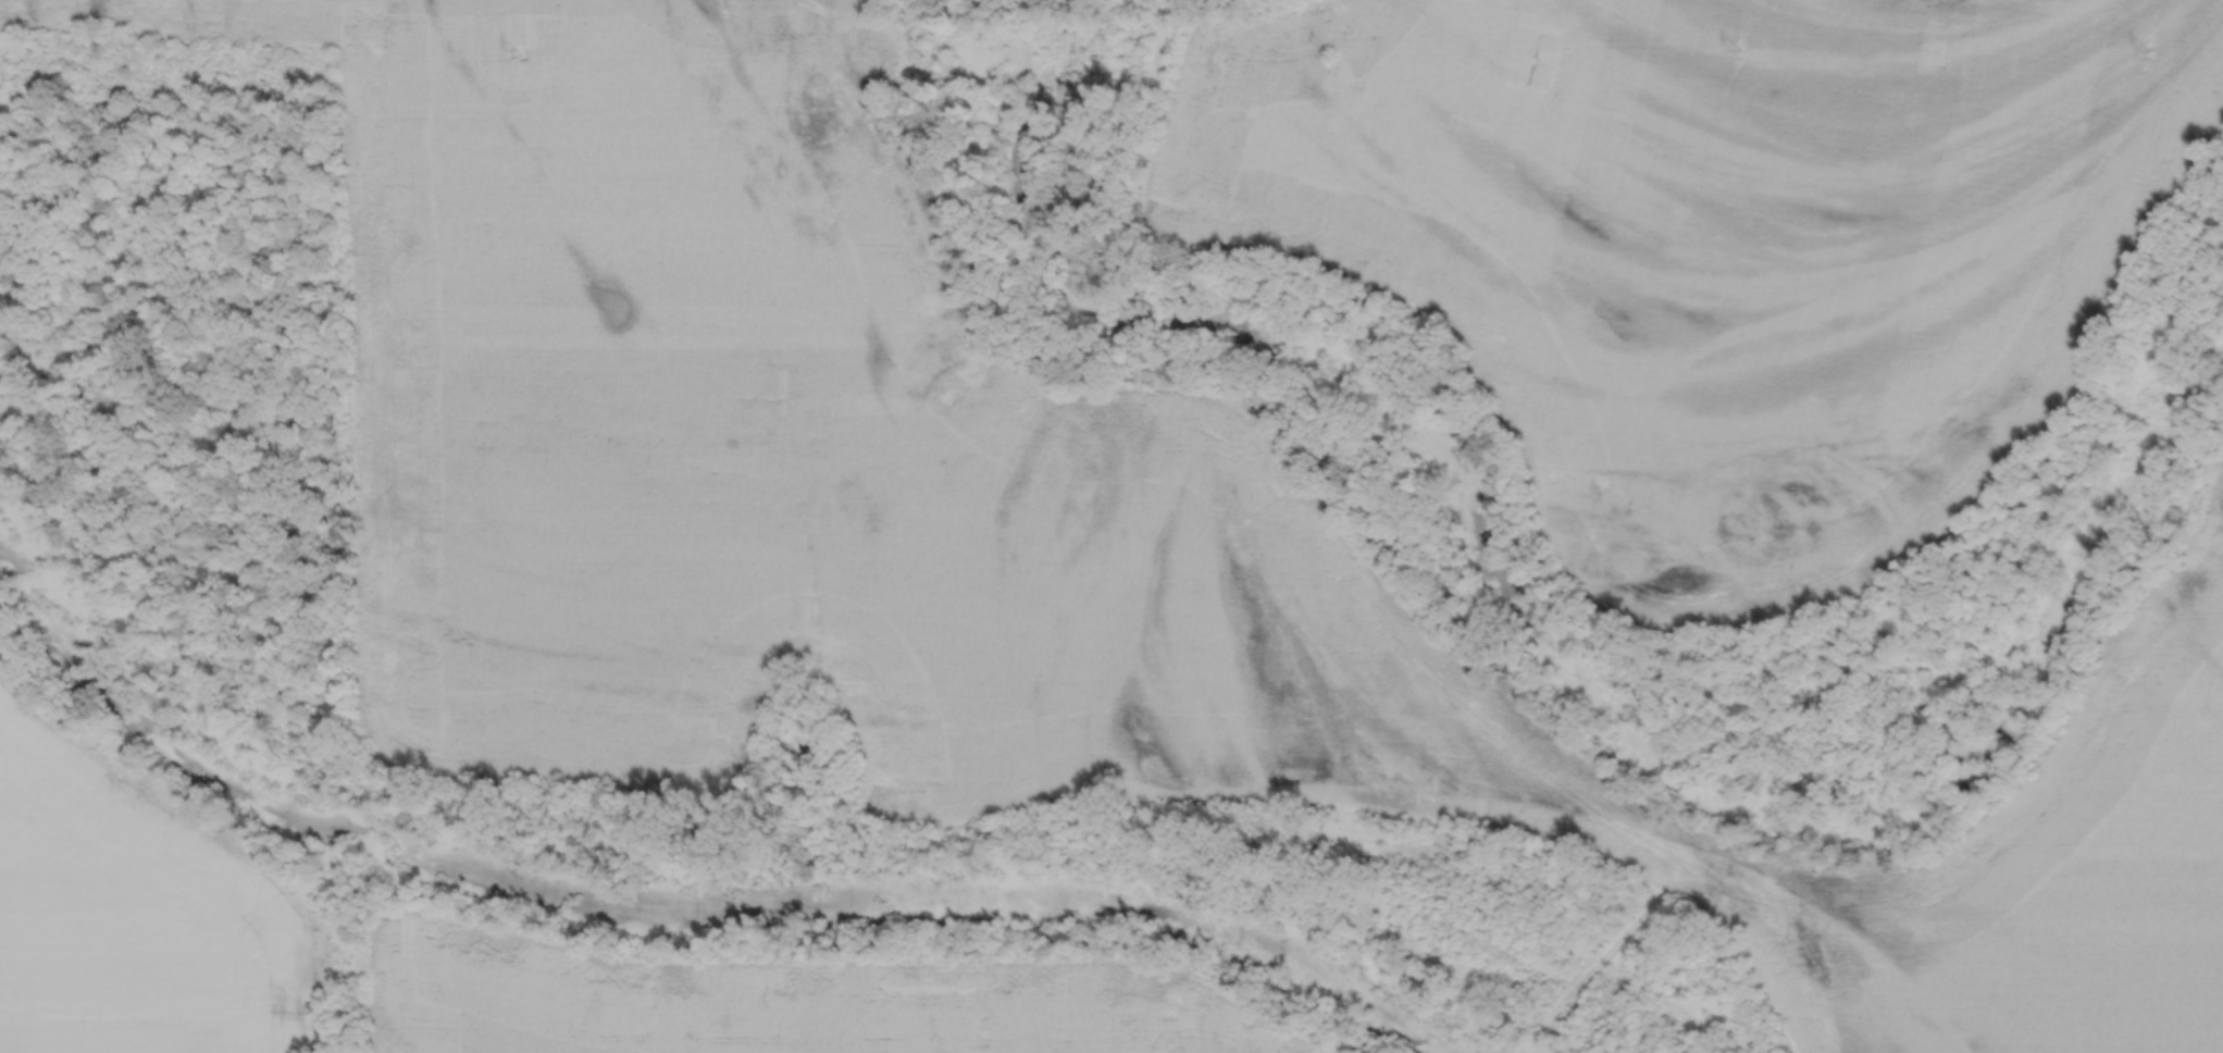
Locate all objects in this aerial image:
power tower: (513, 51)
power tower: (921, 51)
power tower: (2147, 52)
power tower: (1742, 55)
power tower: (1332, 57)
power tower: (110, 58)

